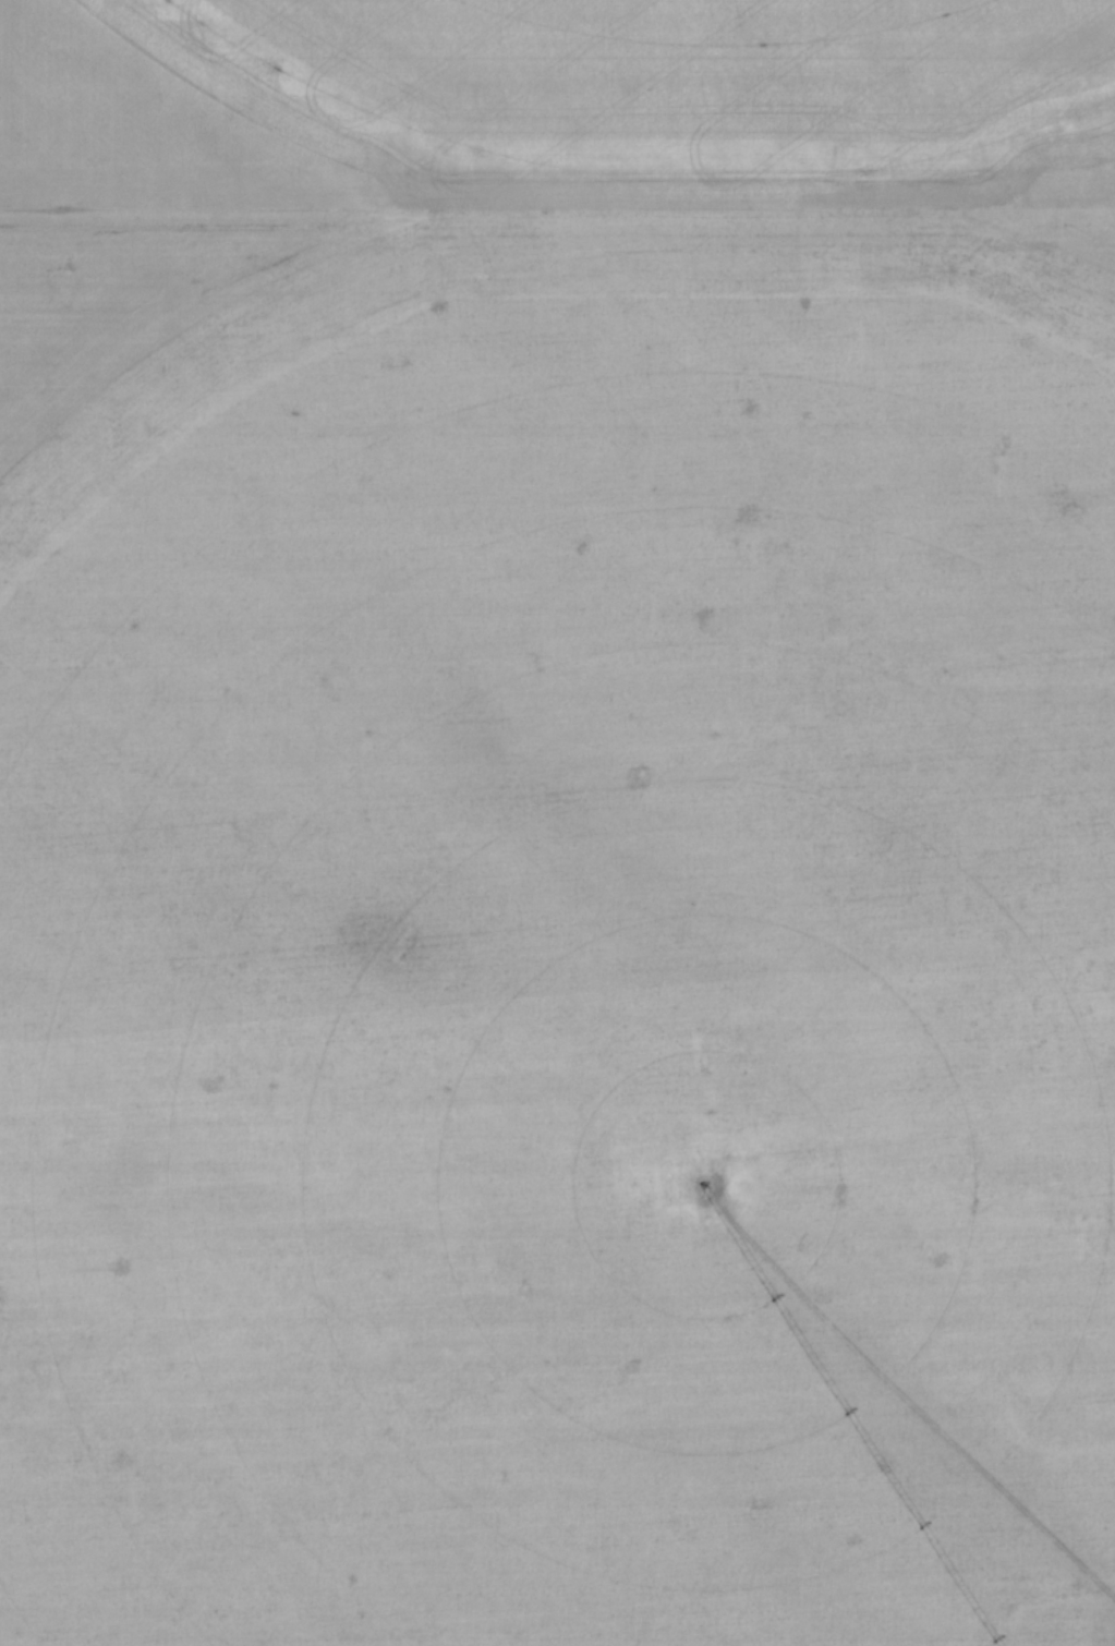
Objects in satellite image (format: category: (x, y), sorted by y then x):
crop: (549, 810)

